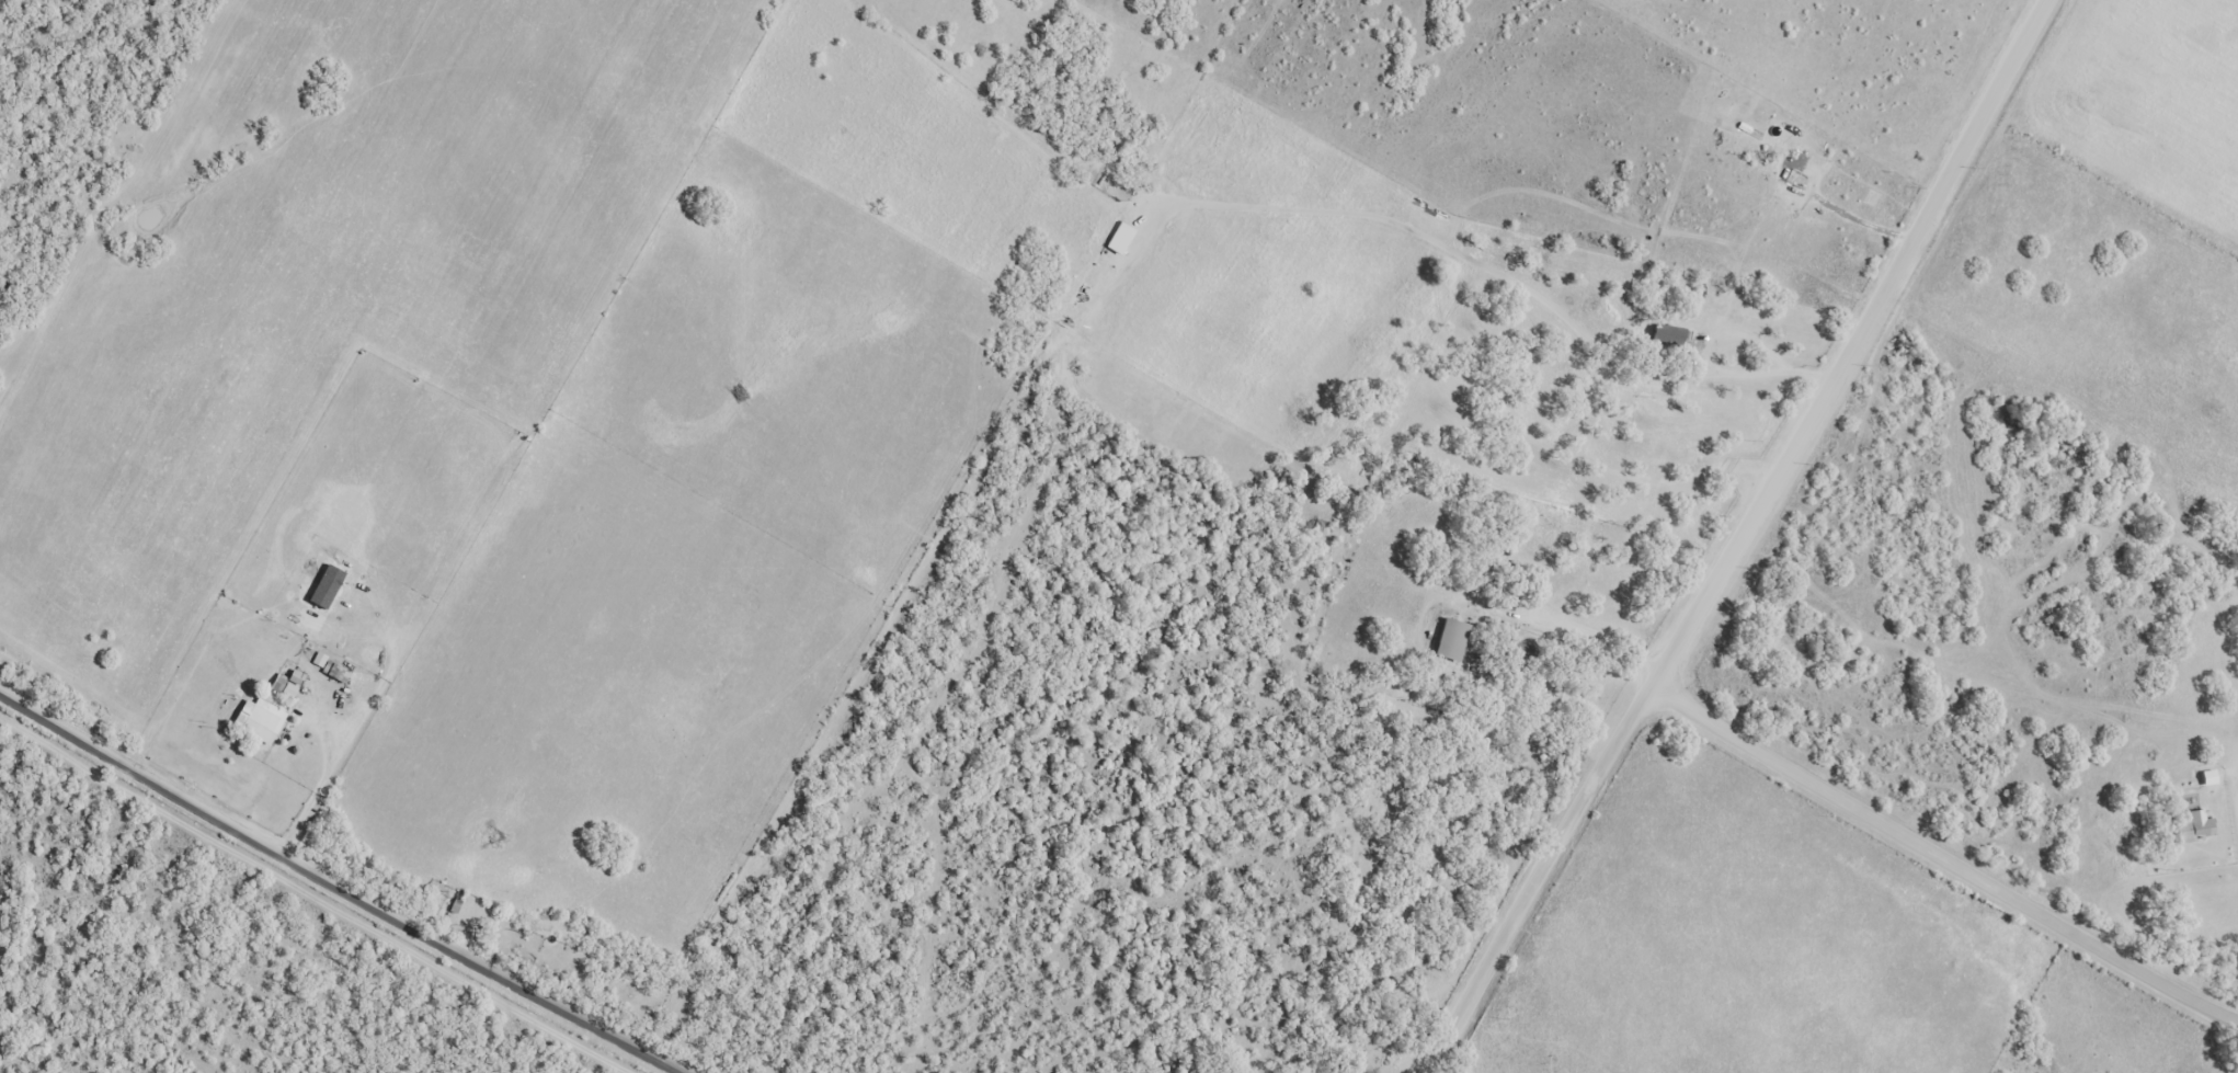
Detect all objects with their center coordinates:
building: (1668, 333)
road: (1850, 344)
road: (1694, 361)
road: (1588, 638)
building: (1450, 639)
building: (330, 667)
building: (283, 682)
building: (258, 719)
road: (320, 796)
building: (2193, 827)
road: (1941, 854)
road: (1537, 879)
road: (334, 890)

